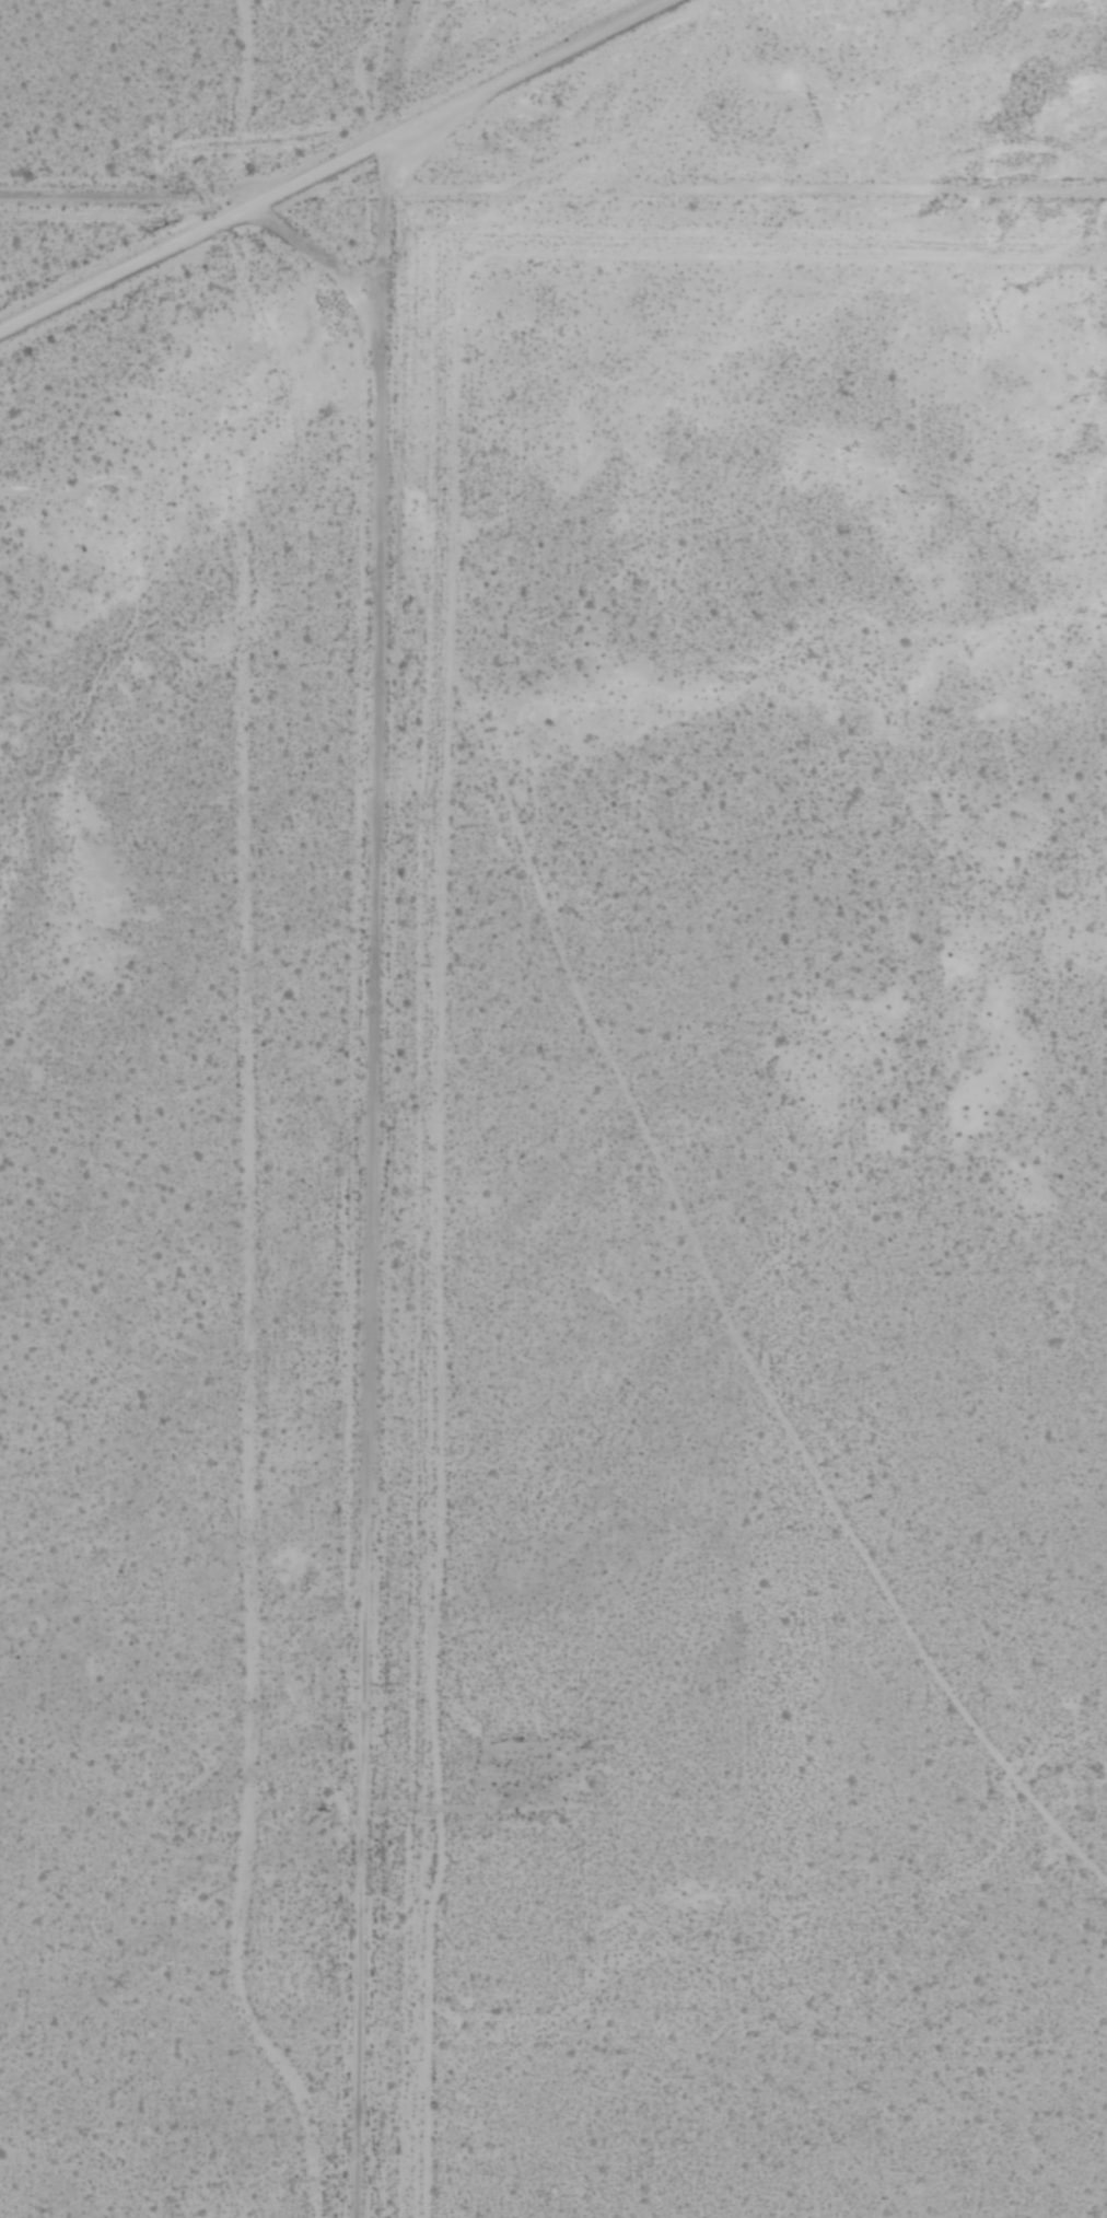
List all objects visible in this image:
road: (335, 165)
road: (124, 205)
road: (369, 1182)
airport: (783, 1251)

